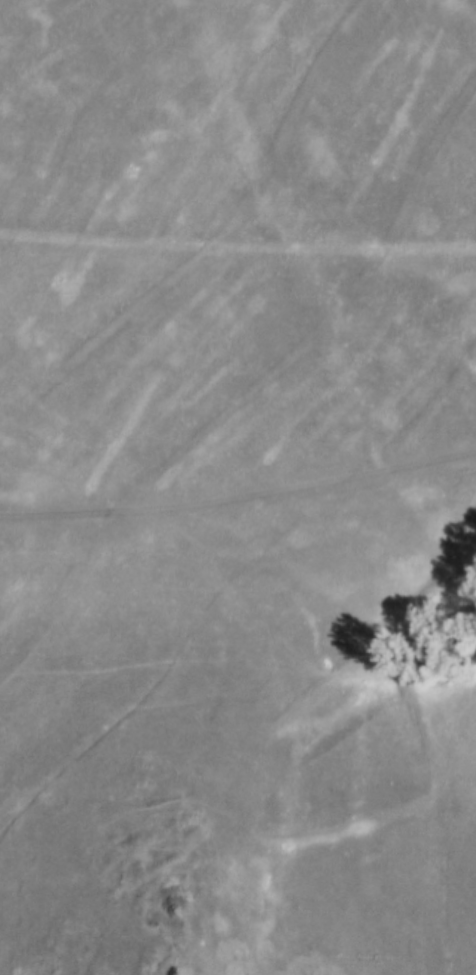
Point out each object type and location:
road: (237, 454)

